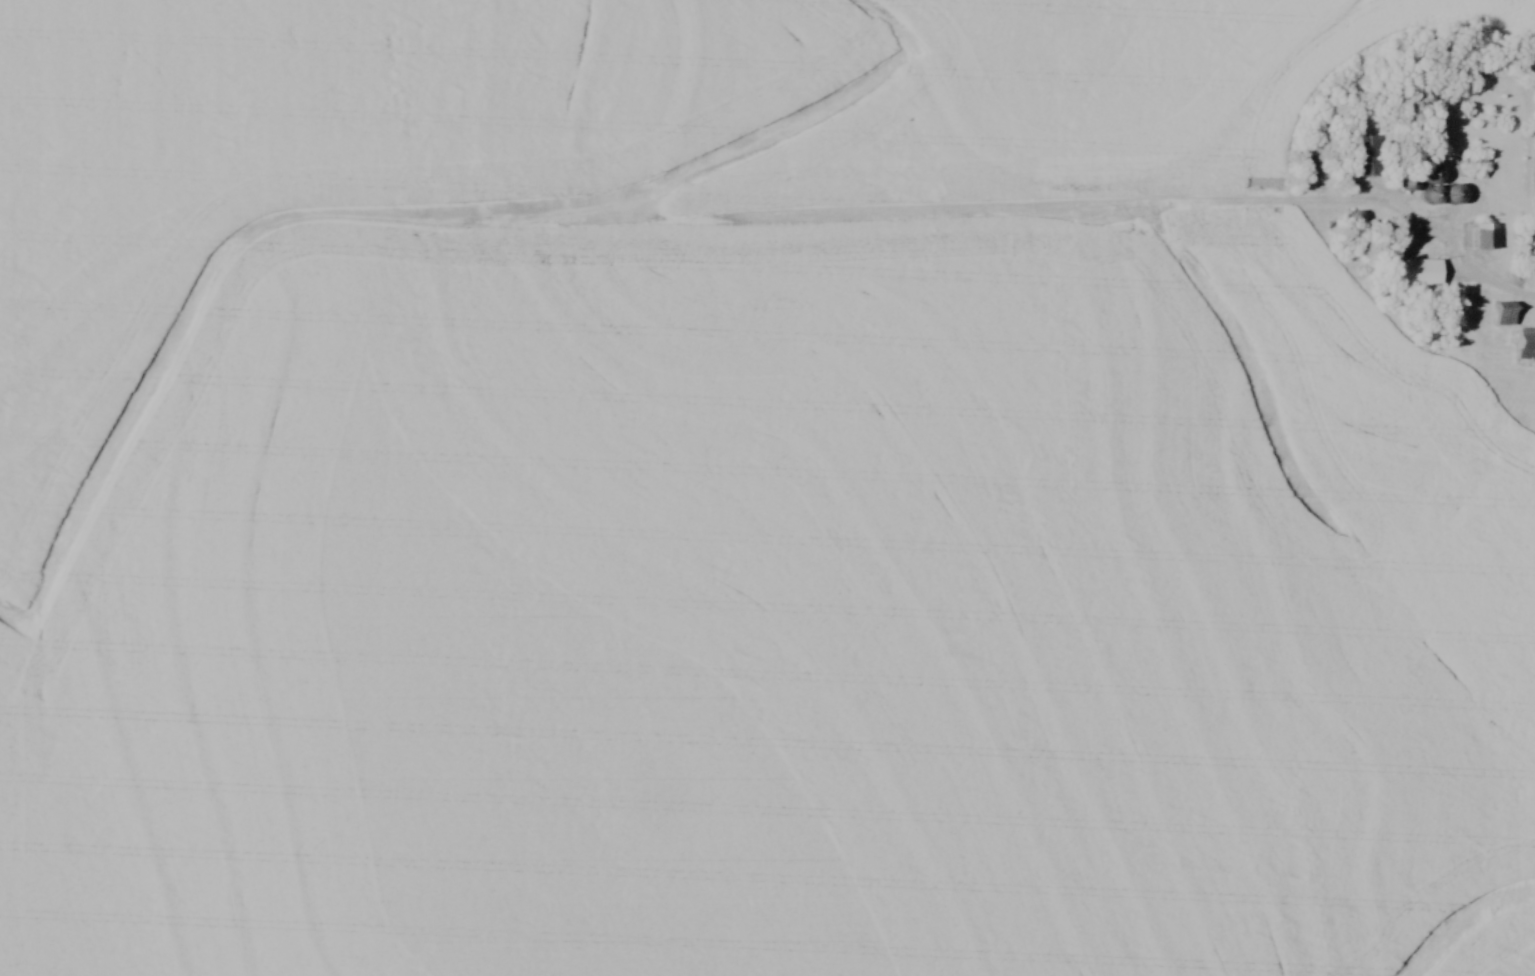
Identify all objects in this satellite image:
building: (1368, 155)
building: (1435, 180)
building: (1457, 193)
road: (1415, 222)
building: (1481, 235)
building: (1423, 271)
building: (1508, 312)
building: (1527, 345)

